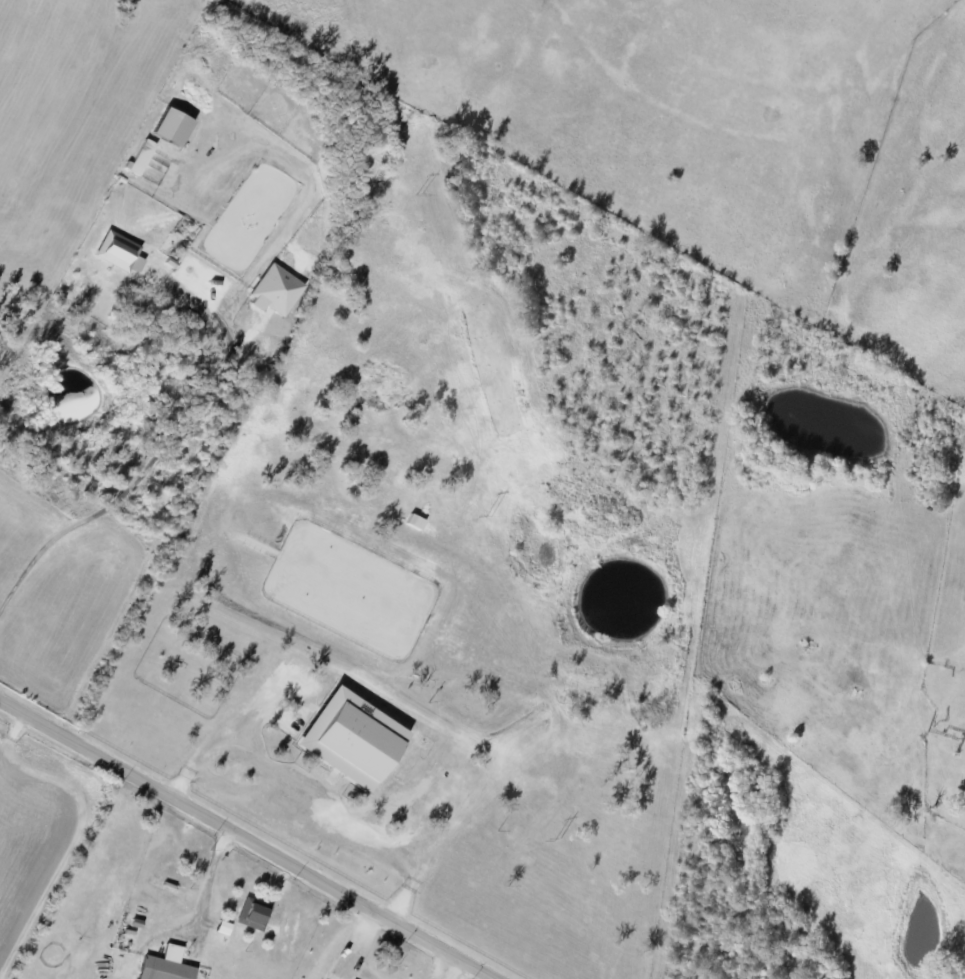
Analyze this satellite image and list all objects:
building: (169, 126)
building: (140, 155)
power tower: (422, 194)
building: (117, 251)
building: (273, 290)
road: (164, 448)
power tower: (489, 516)
building: (347, 736)
road: (246, 839)
power tower: (558, 841)
road: (207, 884)
building: (165, 886)
building: (253, 912)
building: (163, 965)

